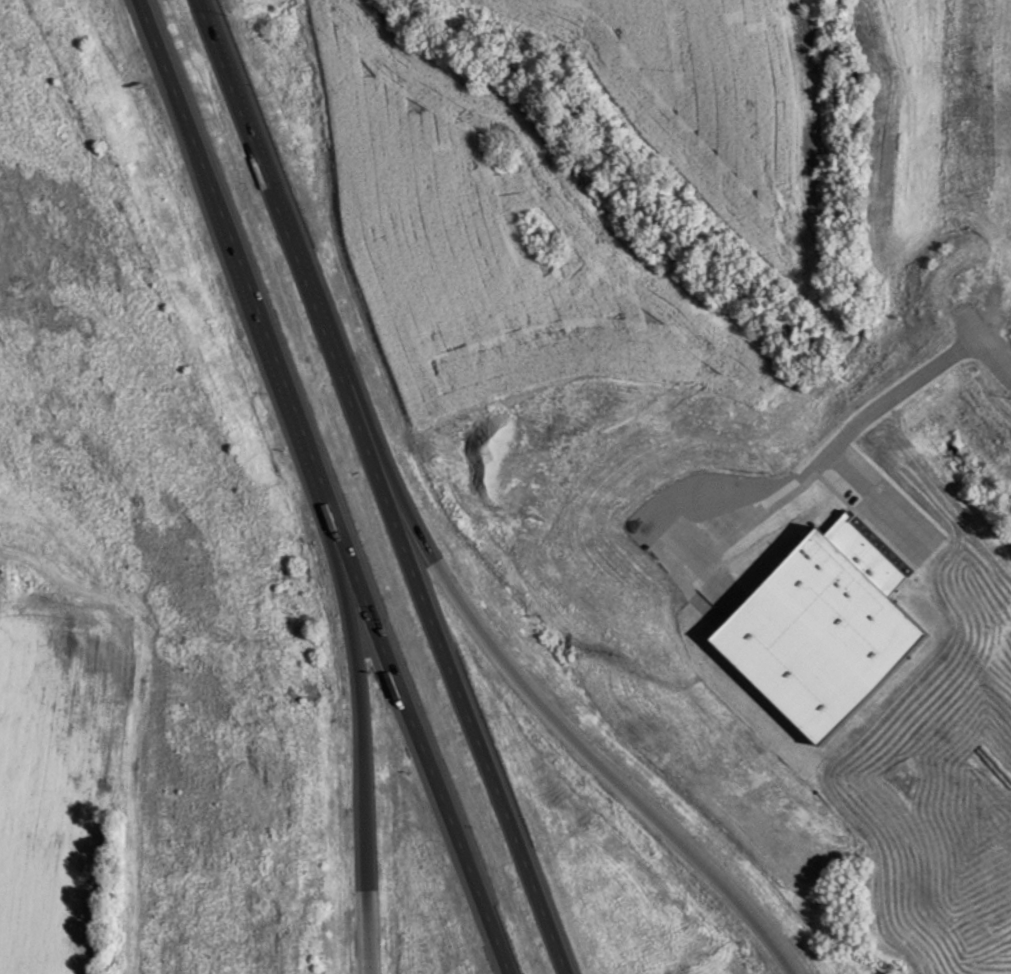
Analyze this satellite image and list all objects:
road: (382, 486)
road: (322, 487)
road: (580, 742)
road: (362, 772)

